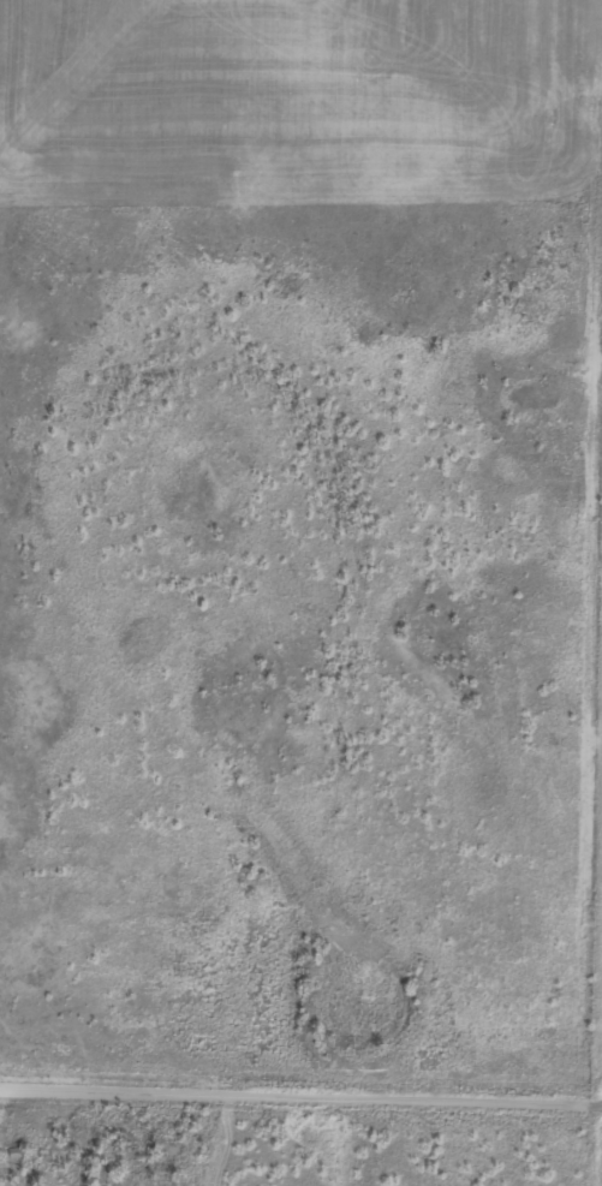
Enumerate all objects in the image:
road: (300, 1093)

